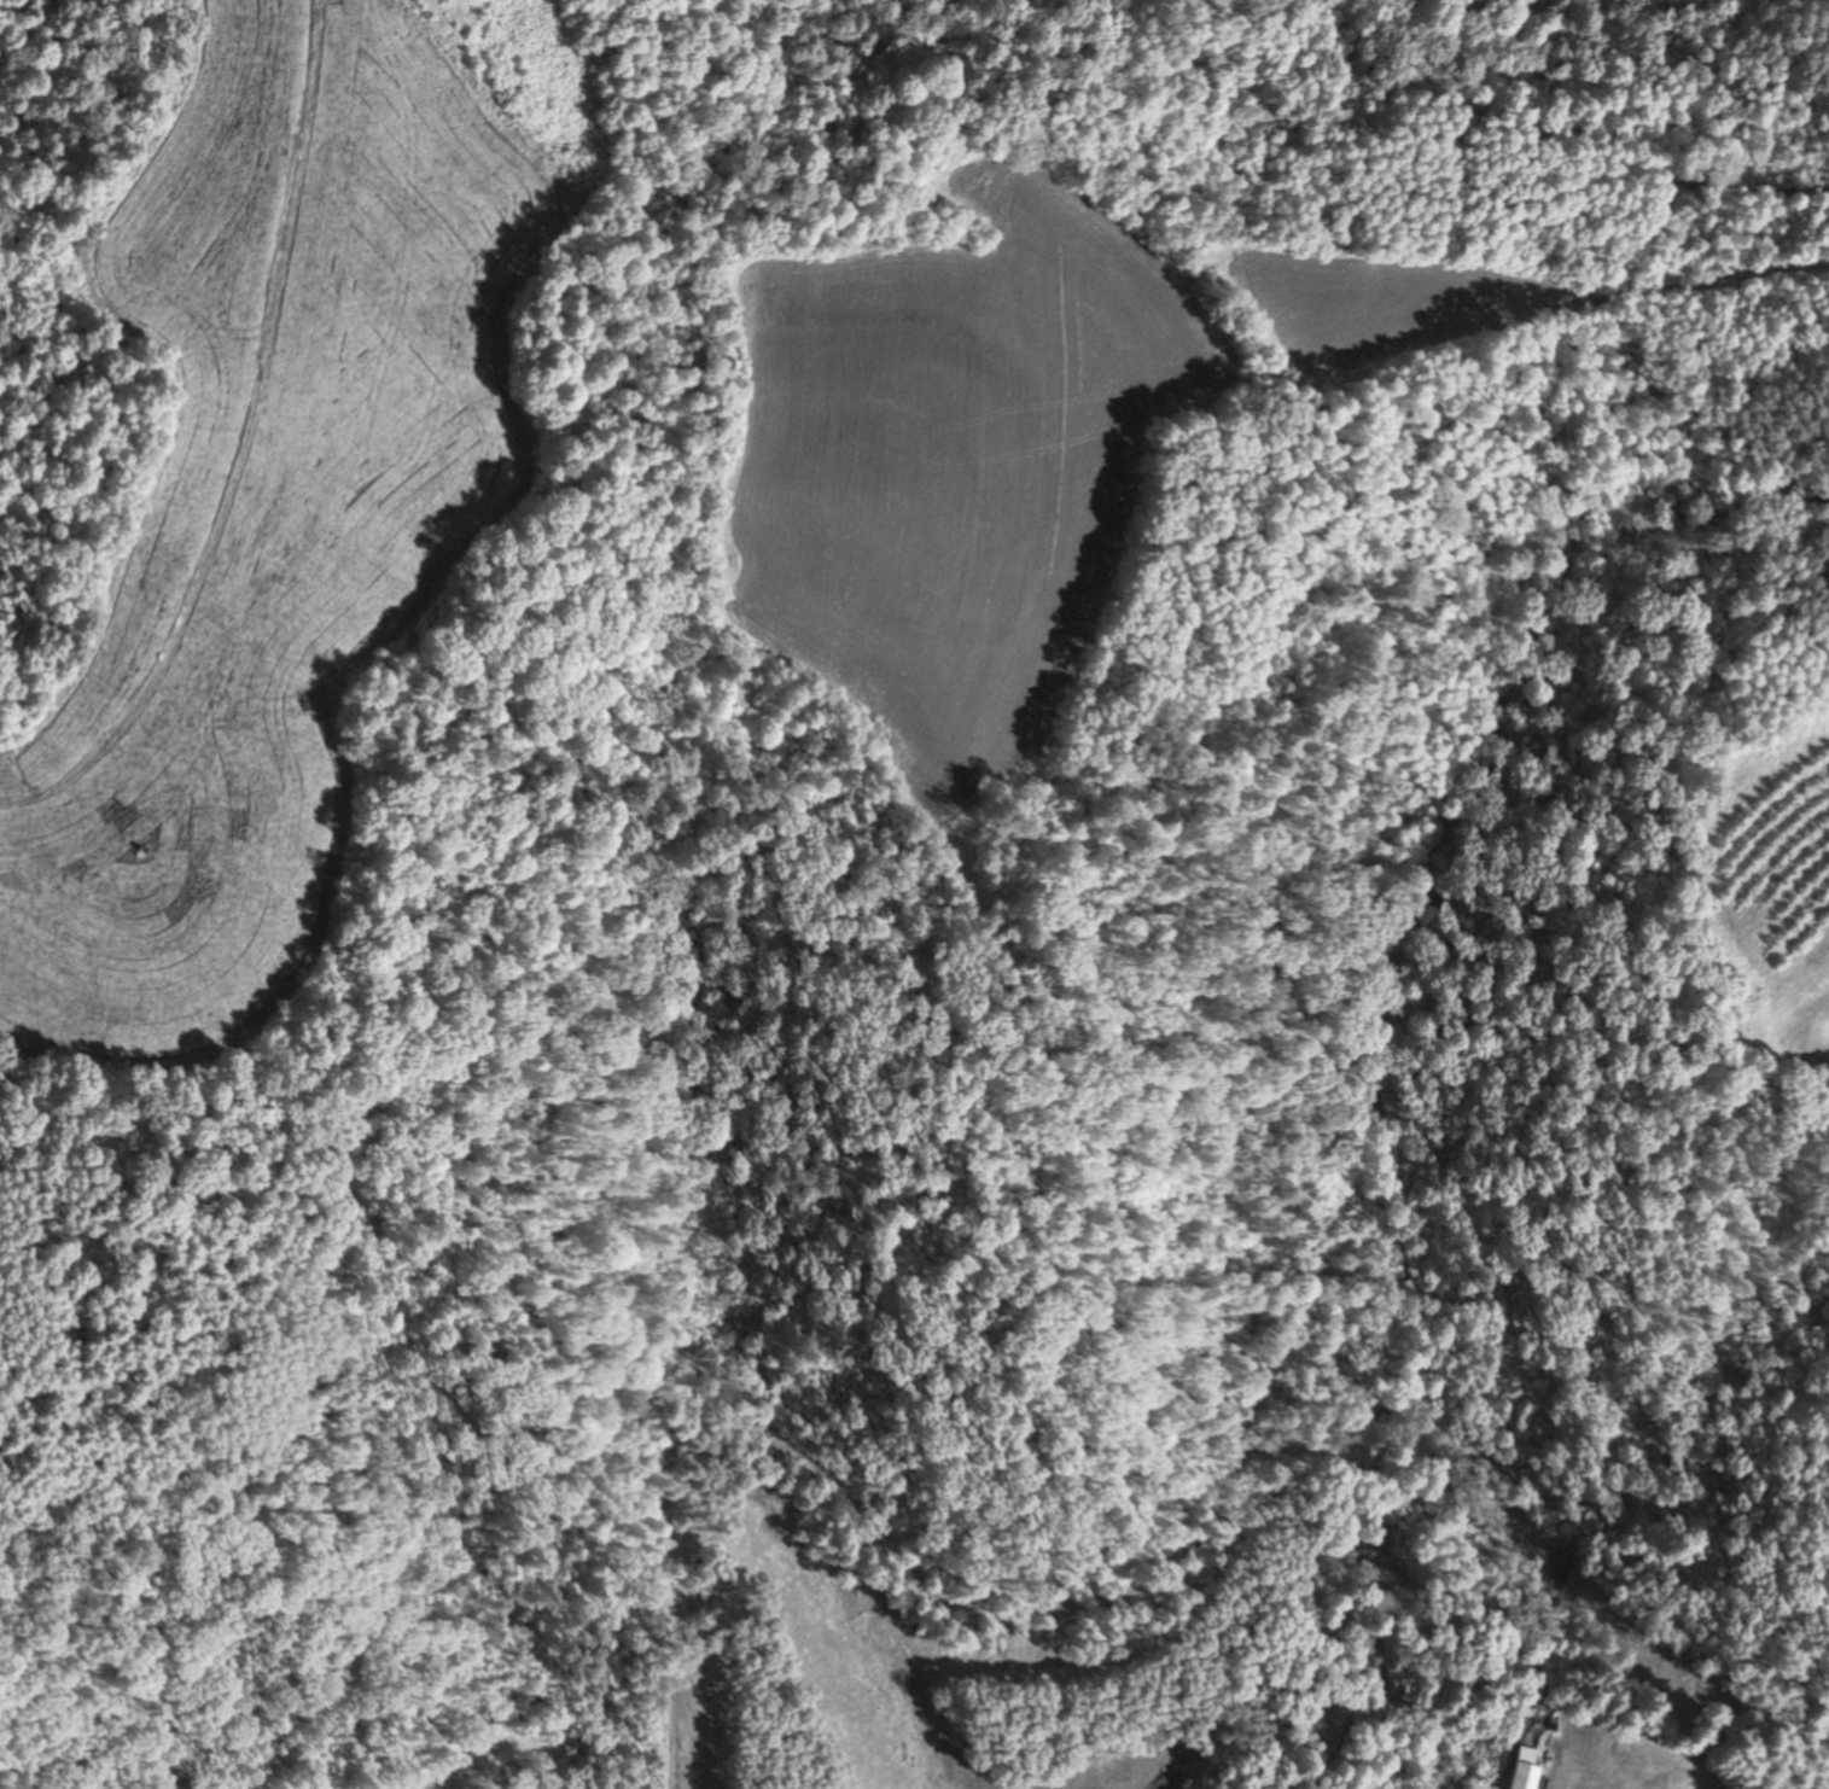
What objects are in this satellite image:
building: (1522, 1776)

